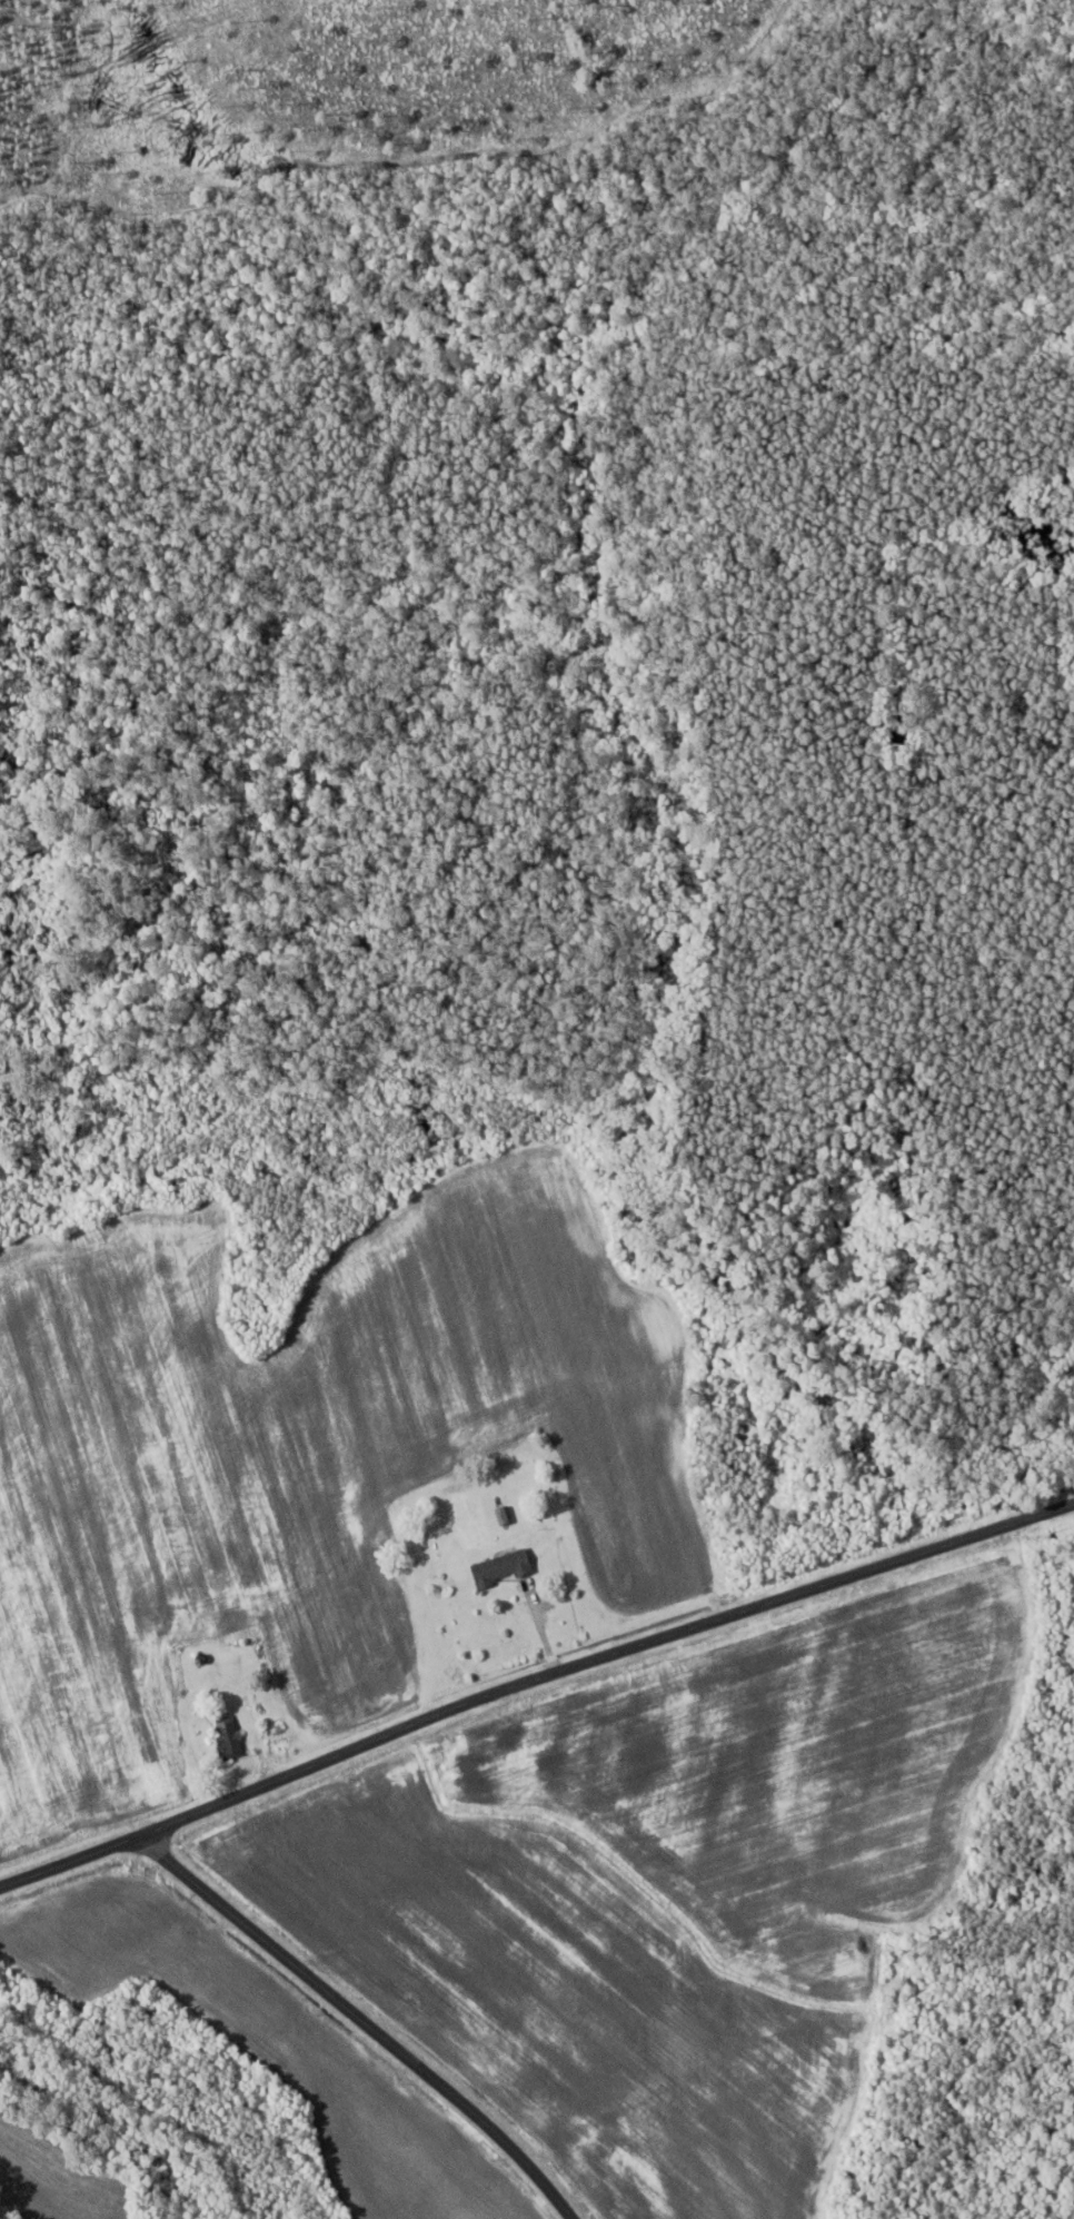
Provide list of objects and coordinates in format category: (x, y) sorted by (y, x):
building: (506, 1516)
building: (505, 1568)
road: (534, 1682)
building: (230, 1738)
road: (380, 2020)

